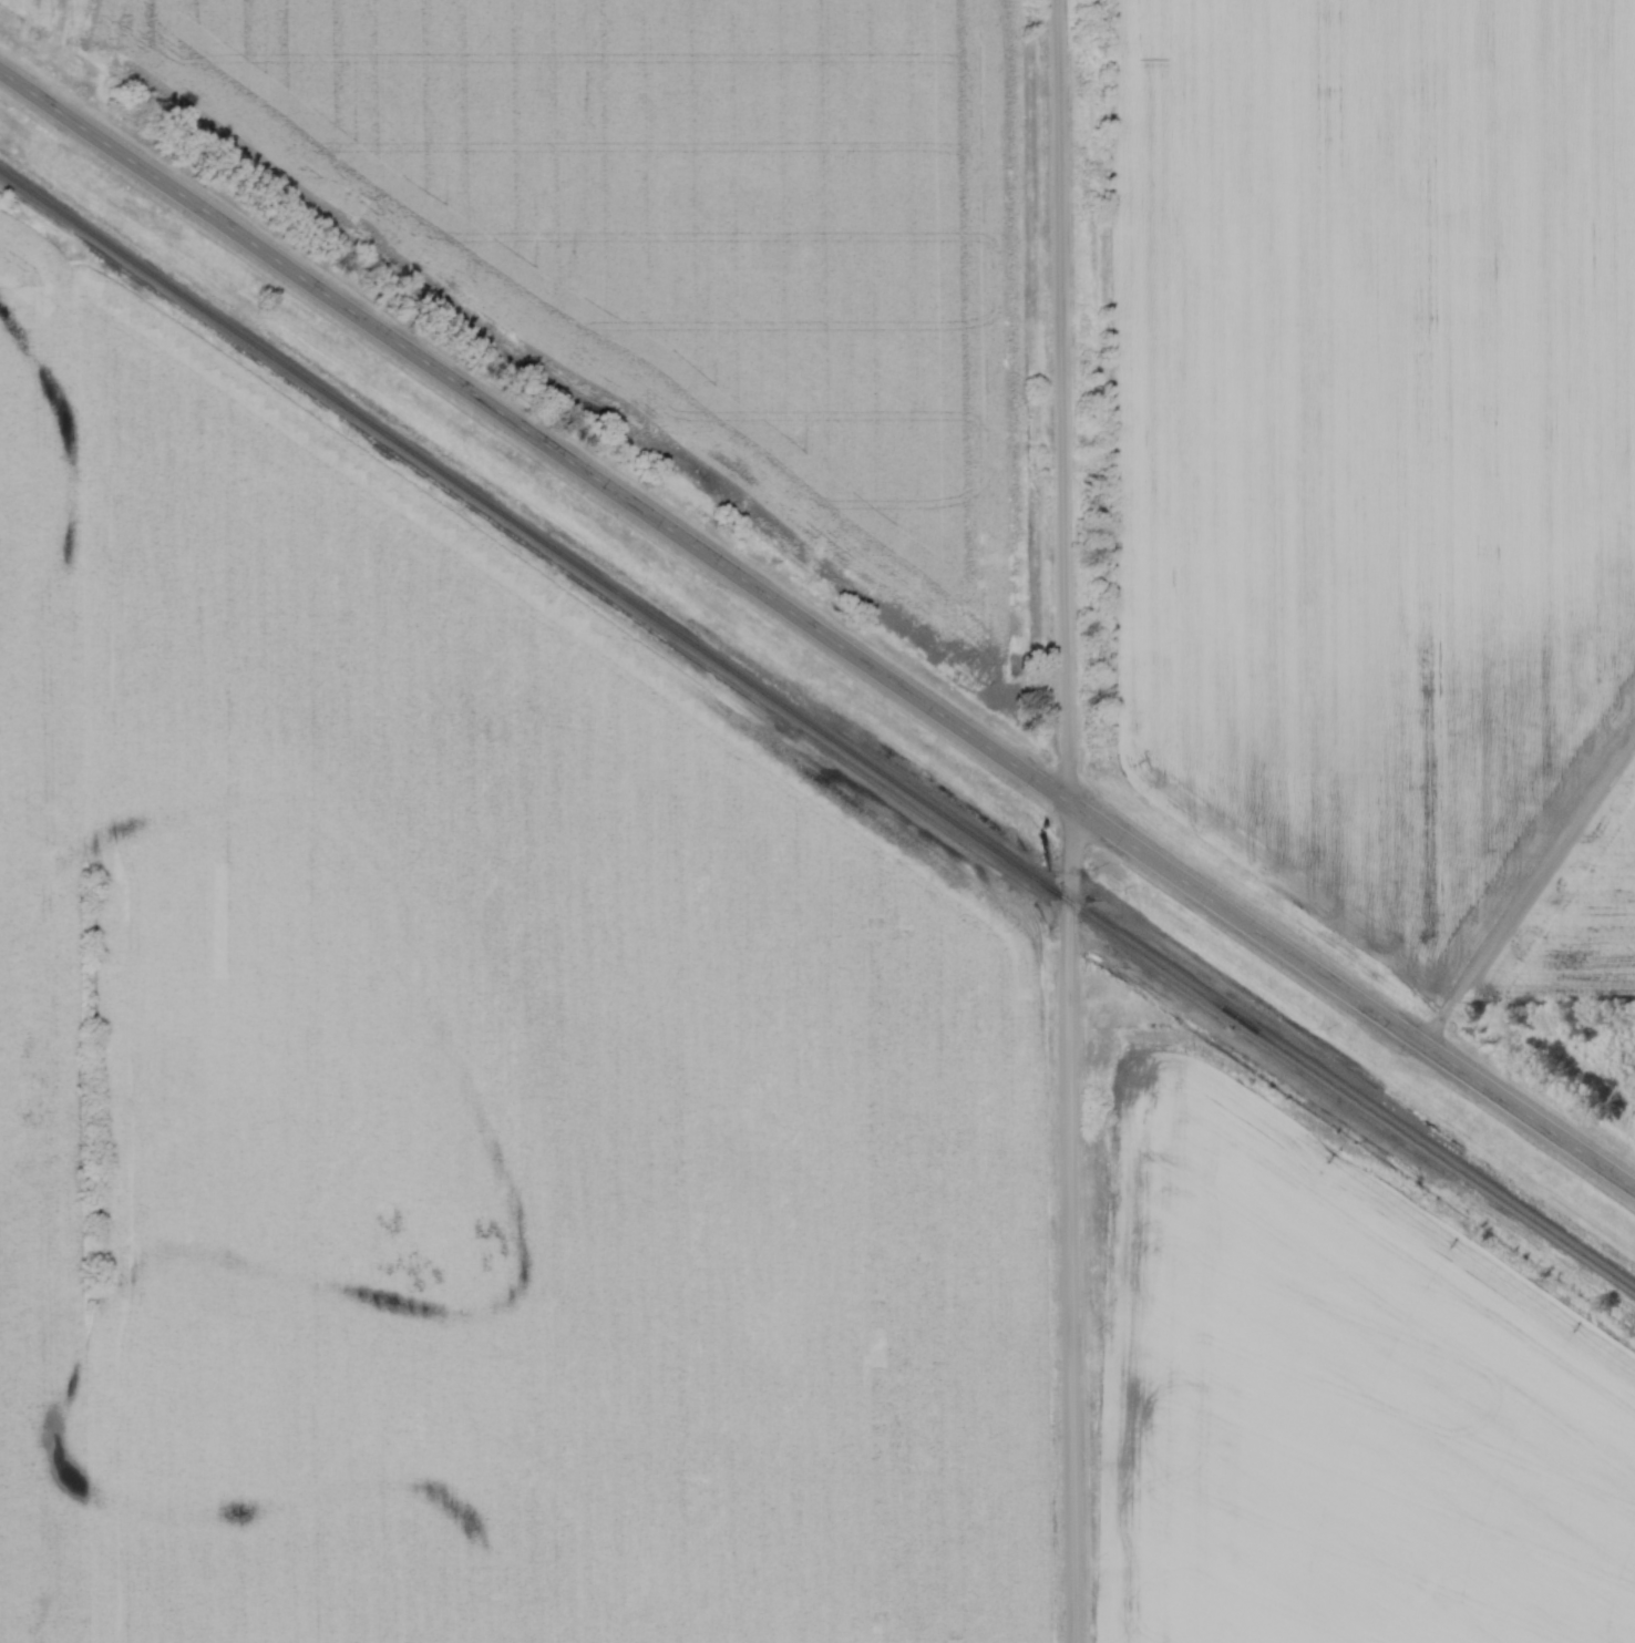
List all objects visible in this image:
crop: (699, 230)
crop: (1376, 435)
road: (816, 630)
railway: (817, 728)
road: (1073, 821)
road: (1531, 897)
crop: (1591, 928)
crop: (459, 1088)

